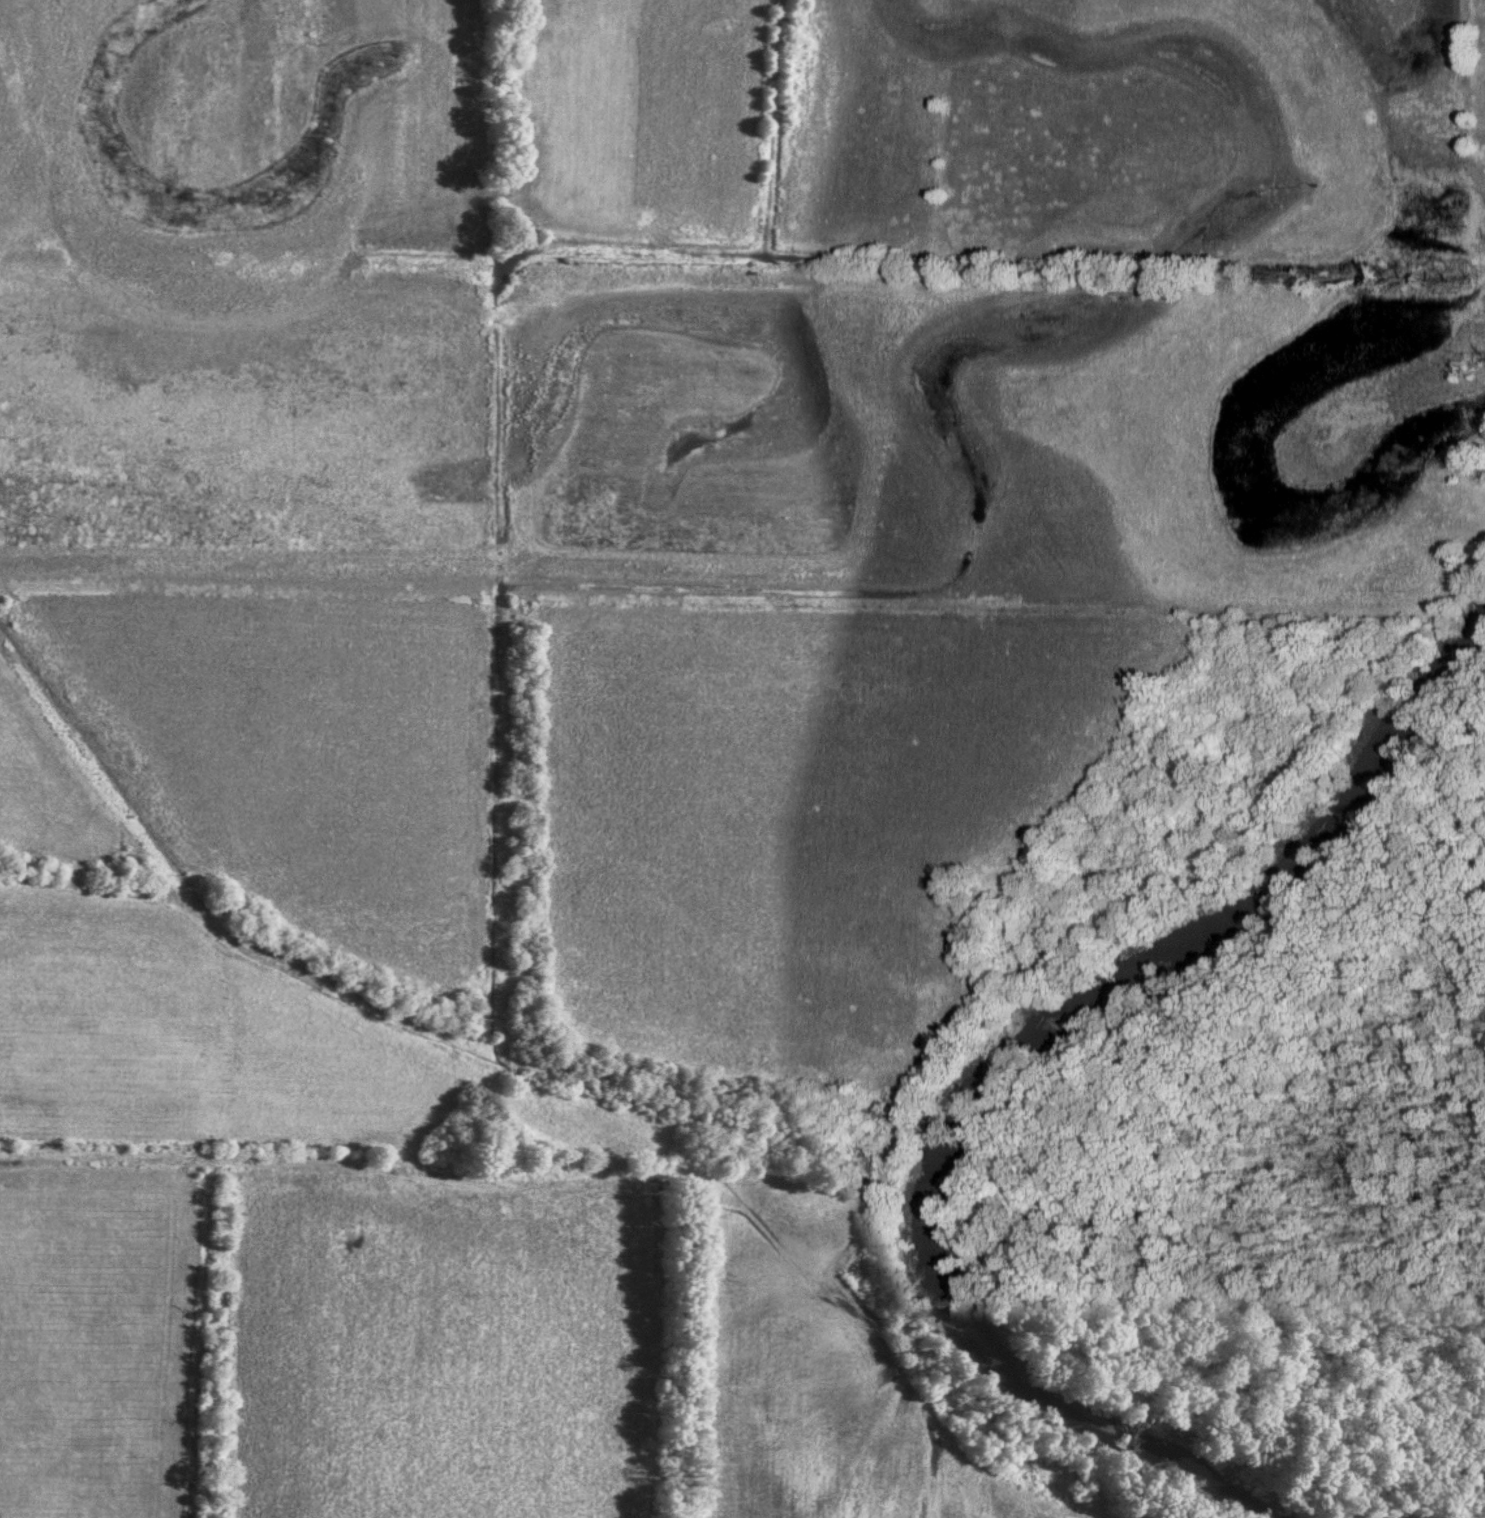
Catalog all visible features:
road: (417, 1173)

